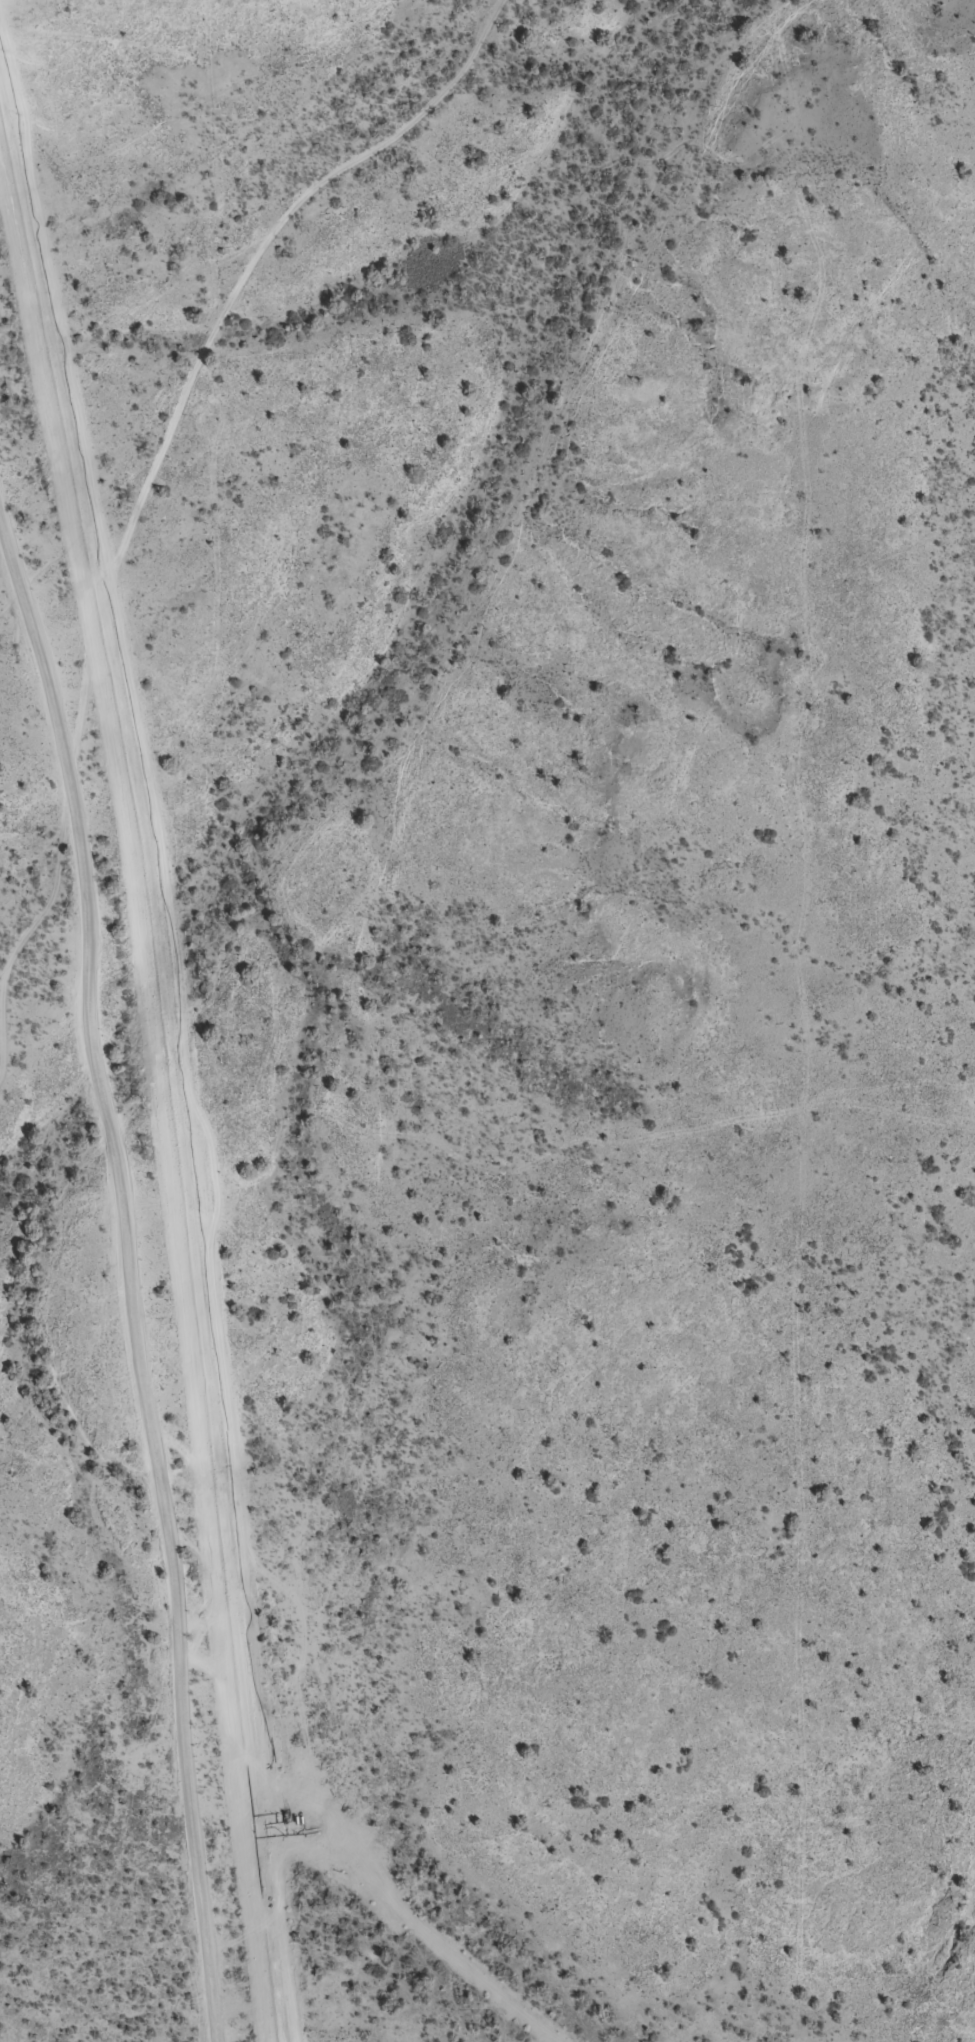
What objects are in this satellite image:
road: (160, 484)

